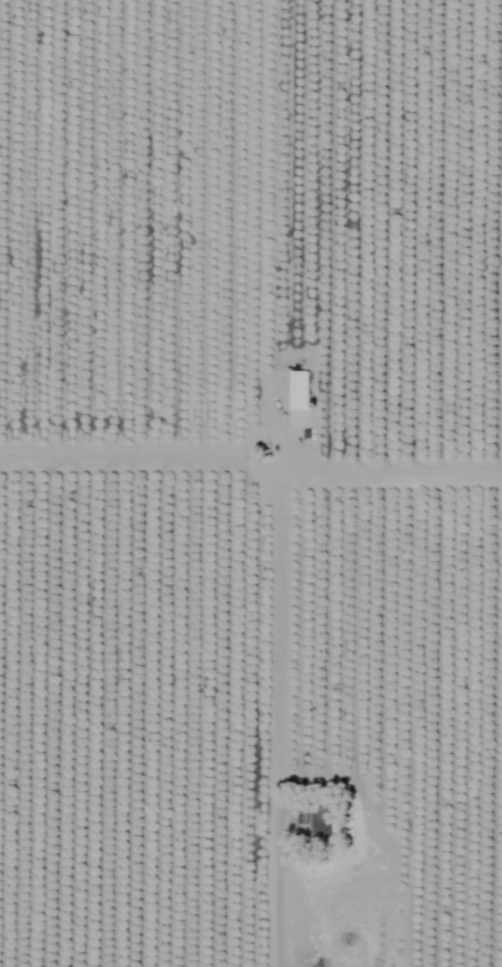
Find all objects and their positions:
crop: (251, 483)
road: (280, 483)
building: (317, 823)

